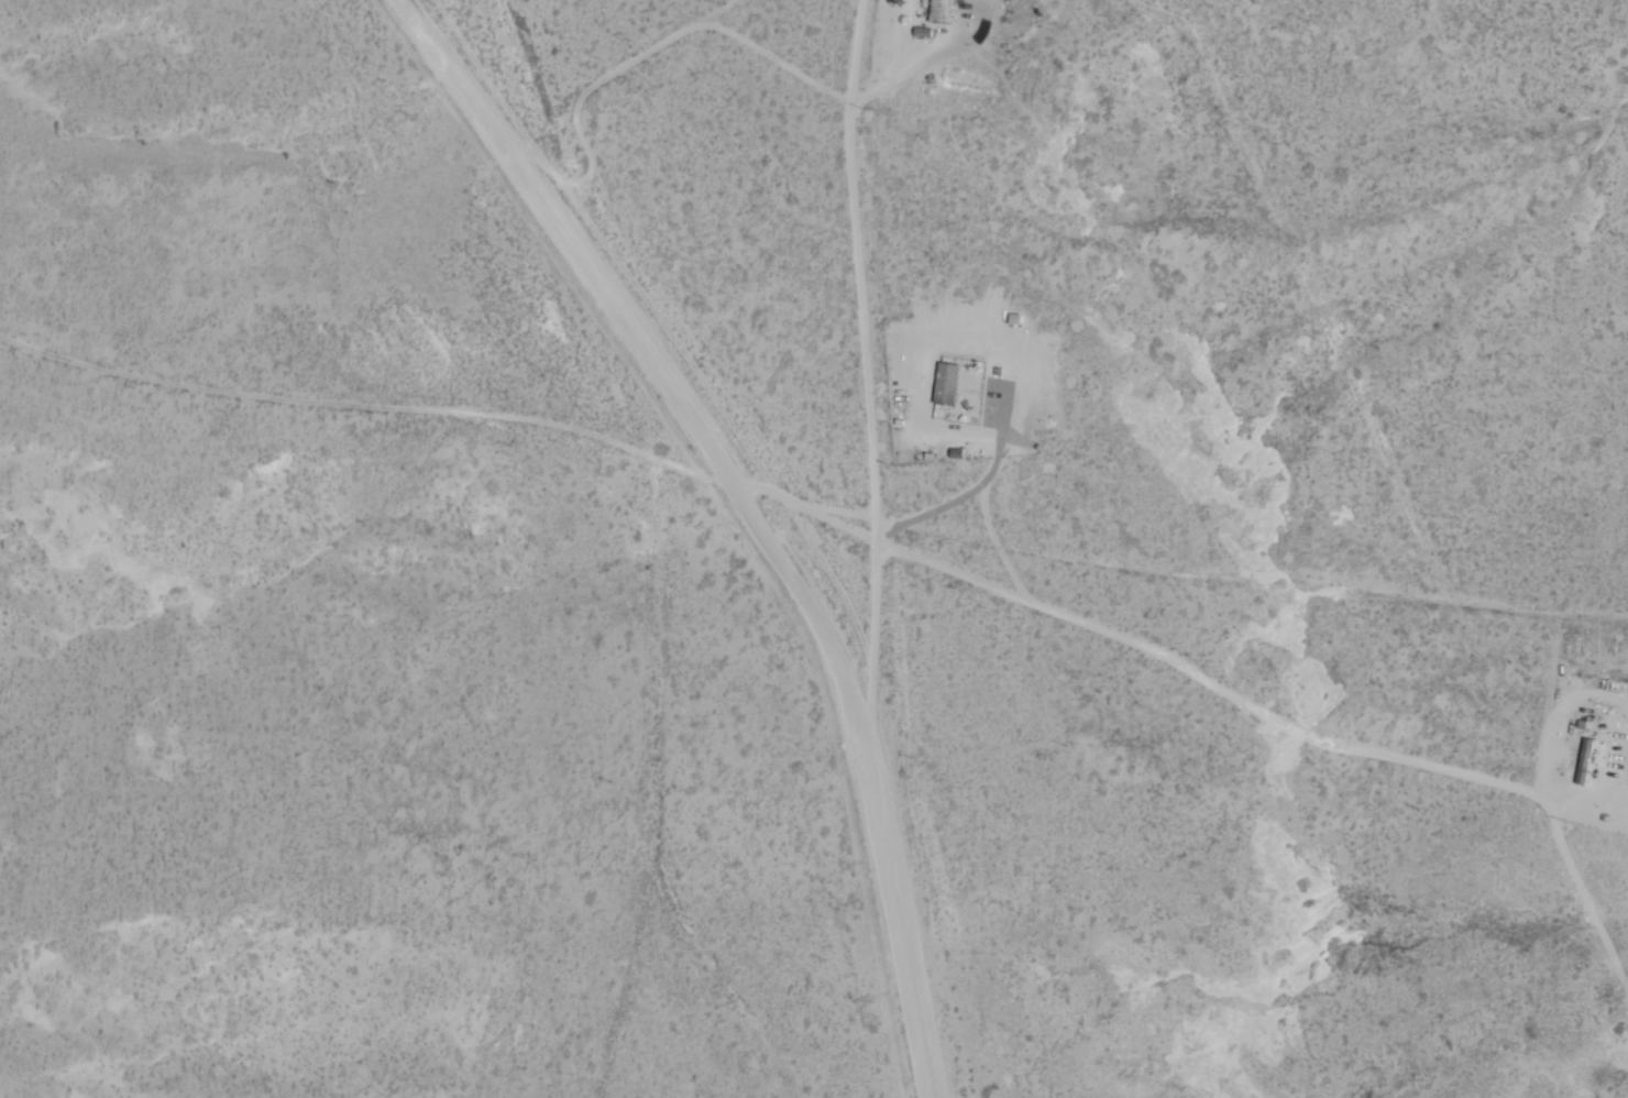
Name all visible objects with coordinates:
building: (939, 11)
road: (514, 103)
building: (946, 383)
road: (377, 410)
road: (767, 509)
road: (920, 542)
road: (1357, 595)
building: (1584, 760)

